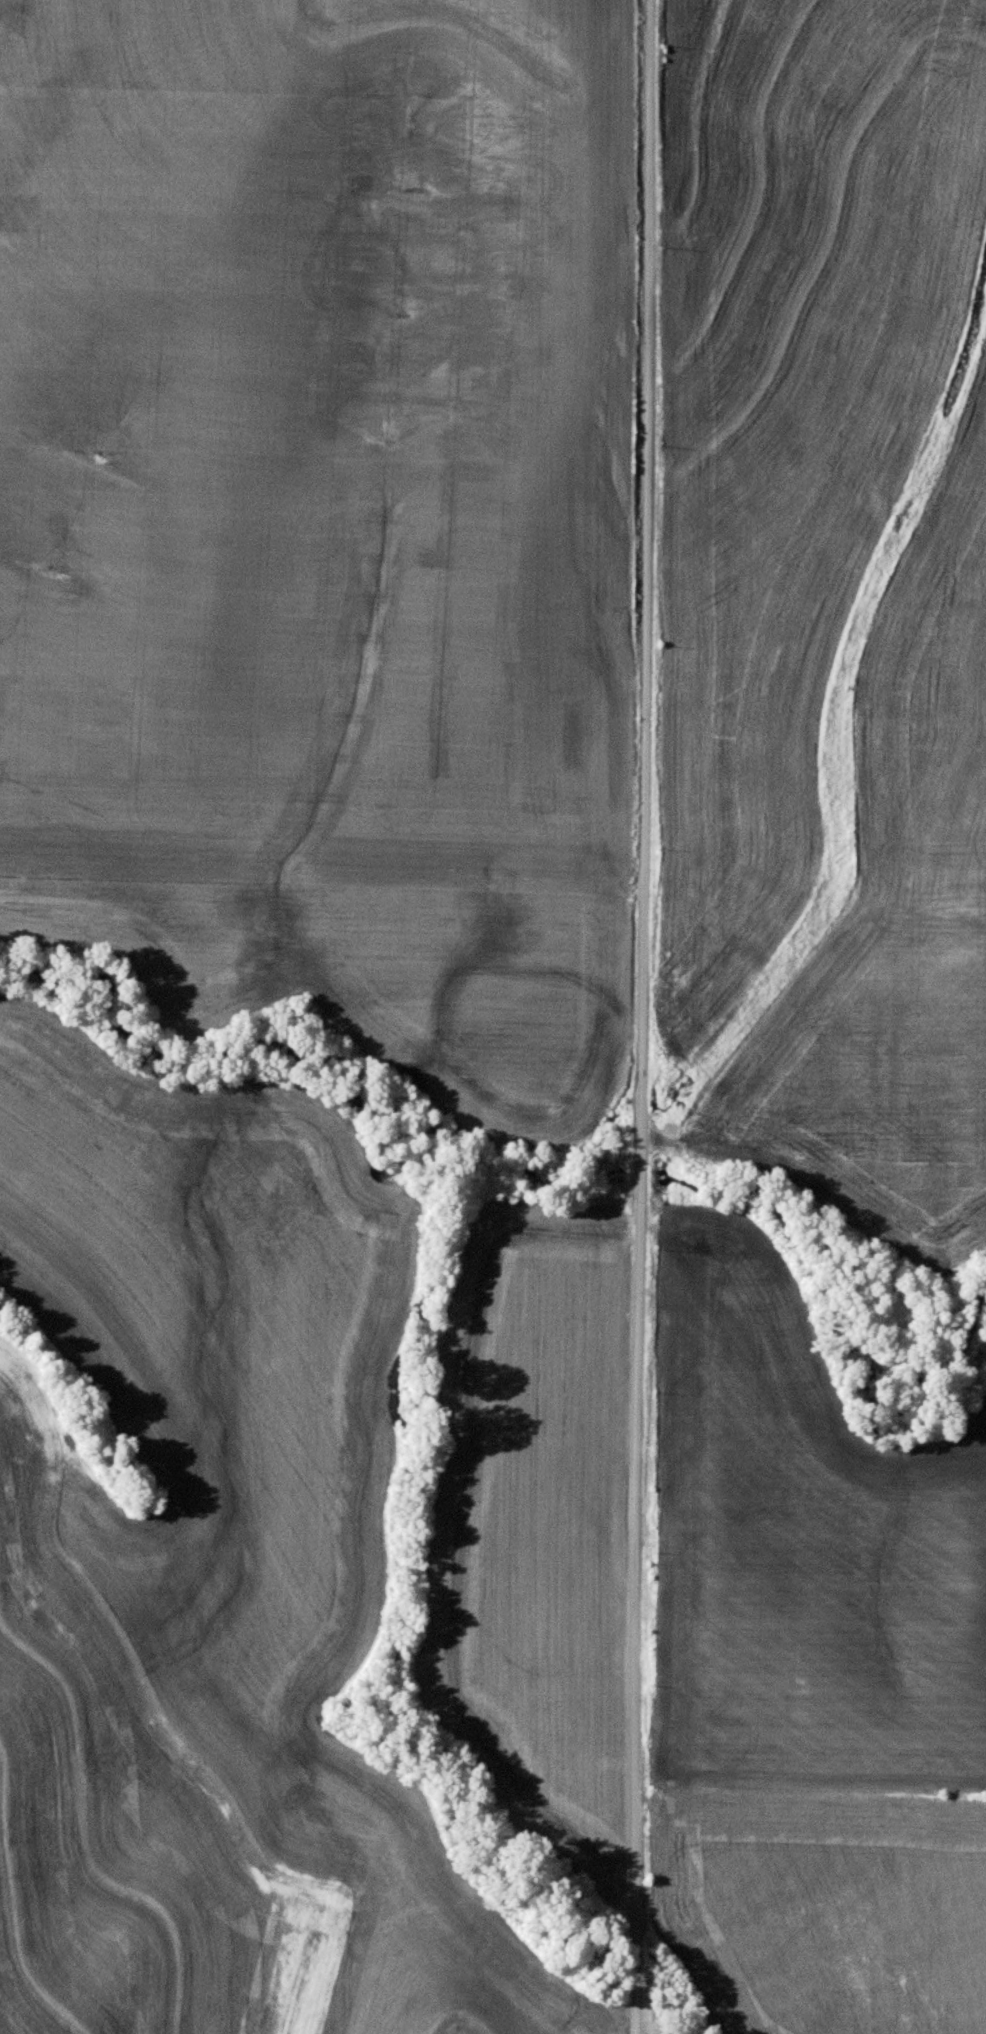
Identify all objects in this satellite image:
road: (644, 1016)

